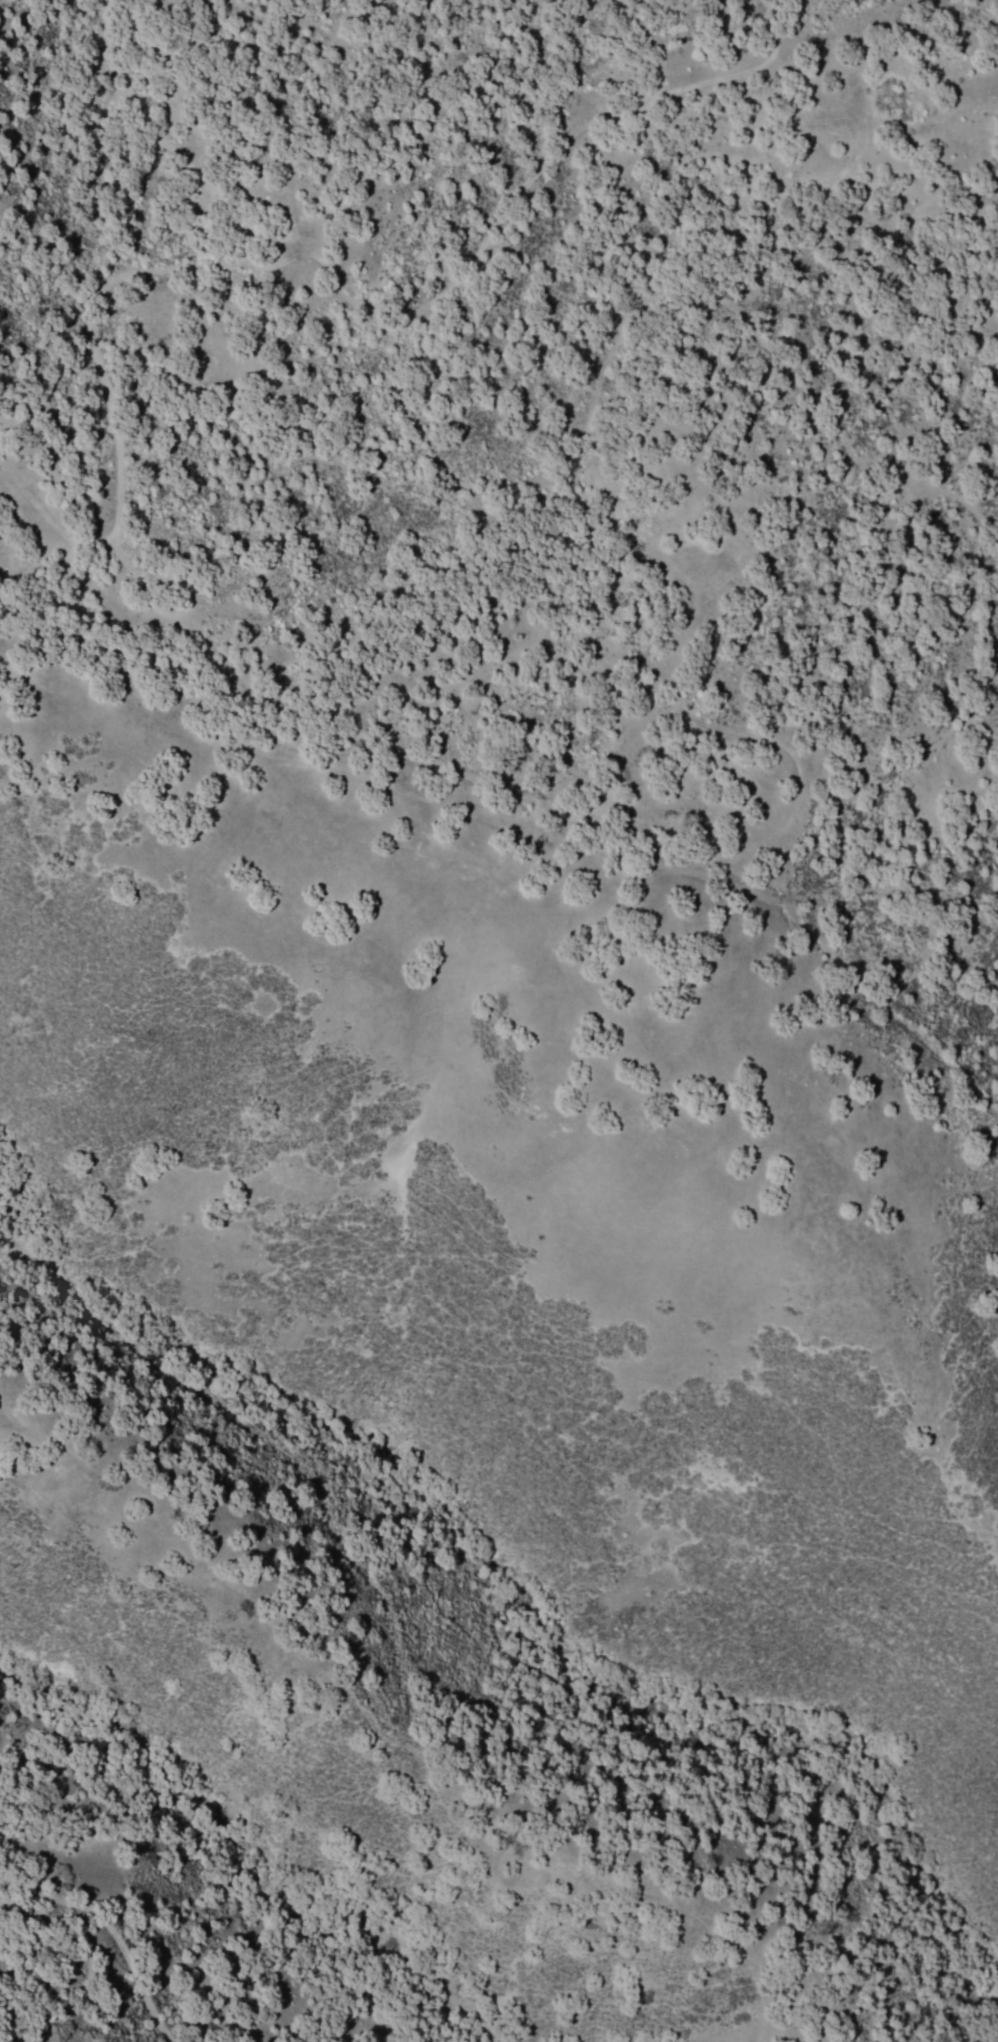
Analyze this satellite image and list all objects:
road: (168, 150)
road: (284, 253)
road: (765, 353)
road: (296, 718)
road: (523, 827)
road: (106, 1938)

